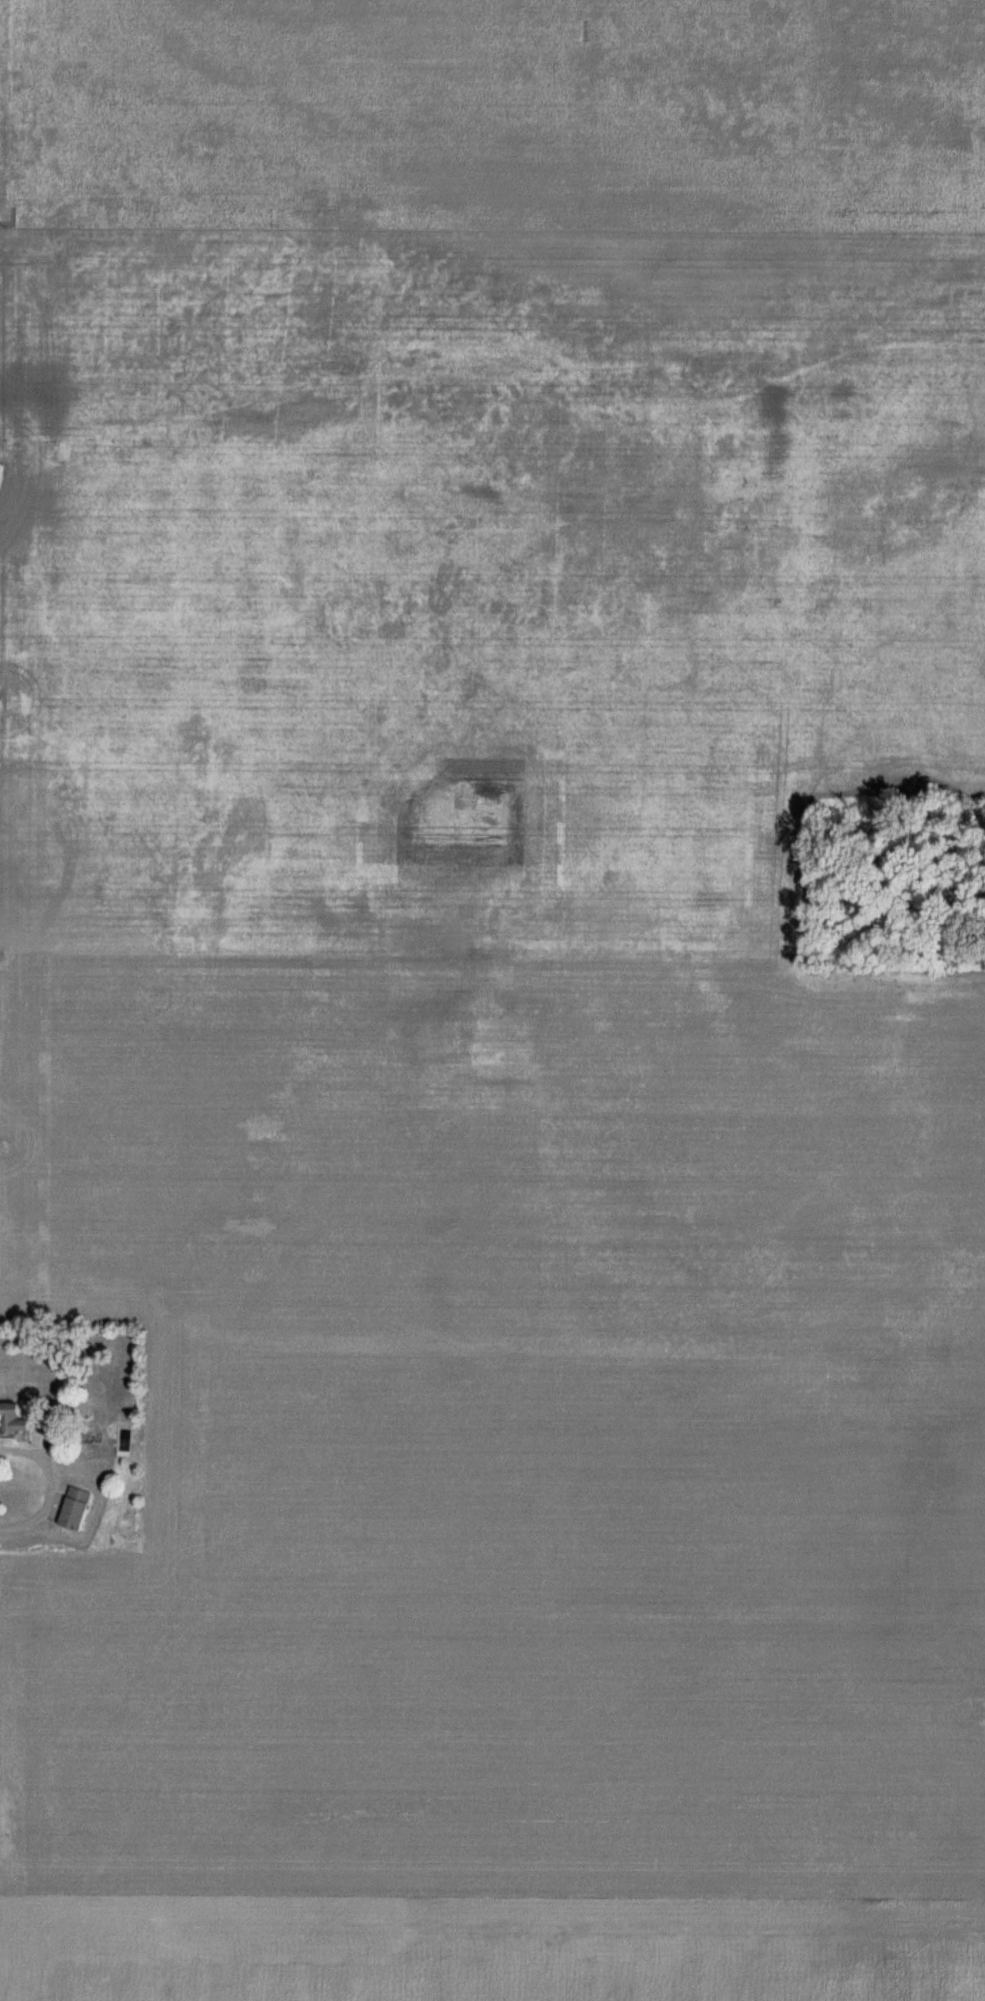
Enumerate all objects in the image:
building: (15, 1419)
building: (77, 1508)

